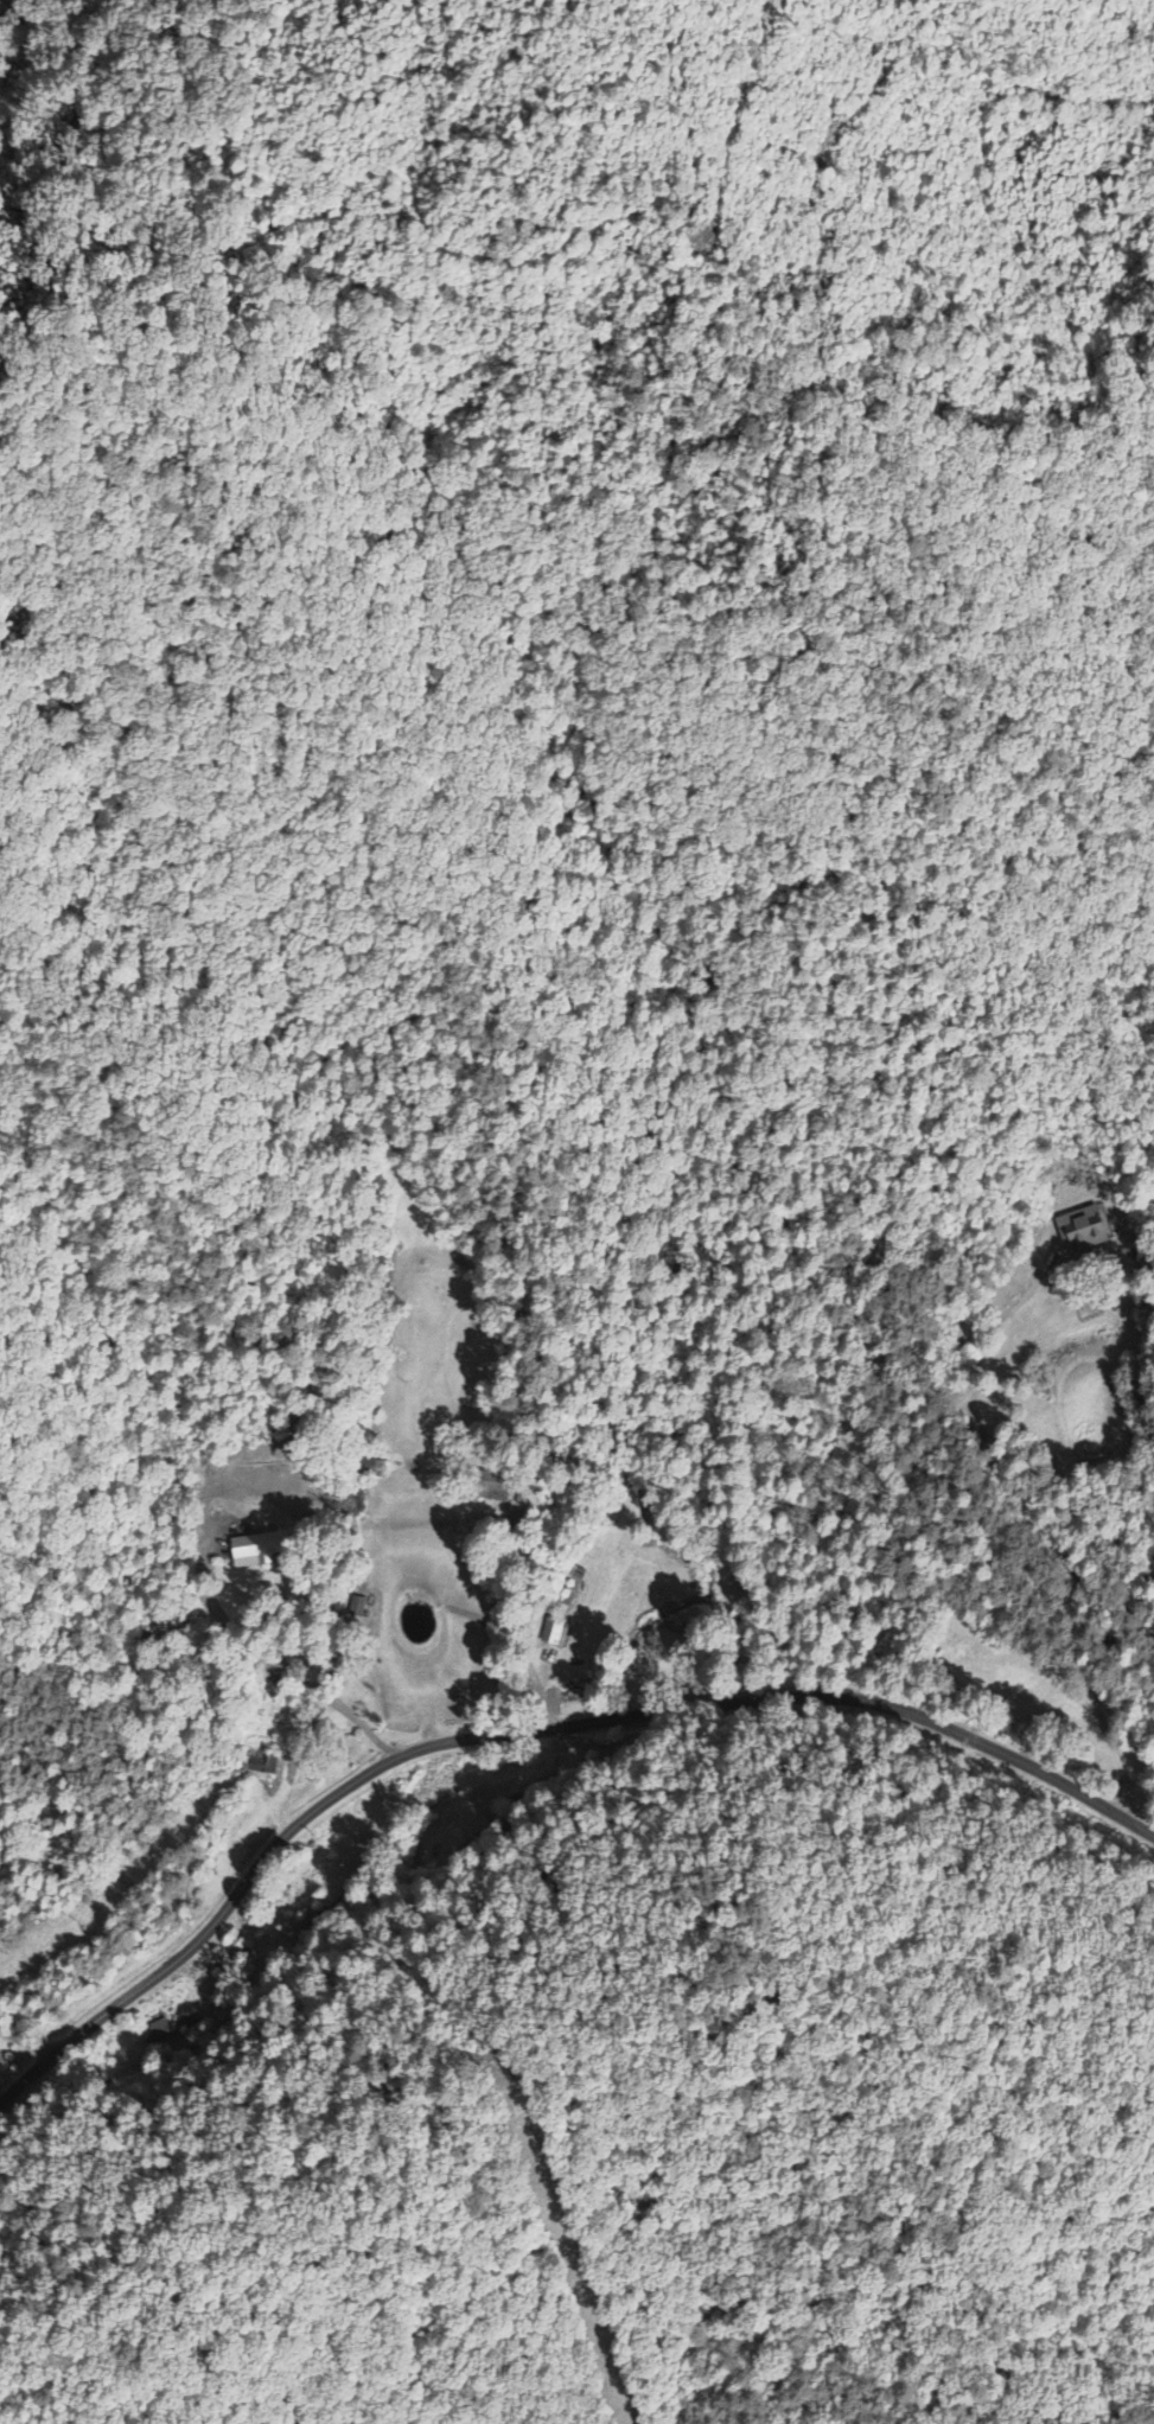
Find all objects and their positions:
building: (1084, 1231)
building: (262, 1550)
building: (555, 1633)
road: (524, 1730)

